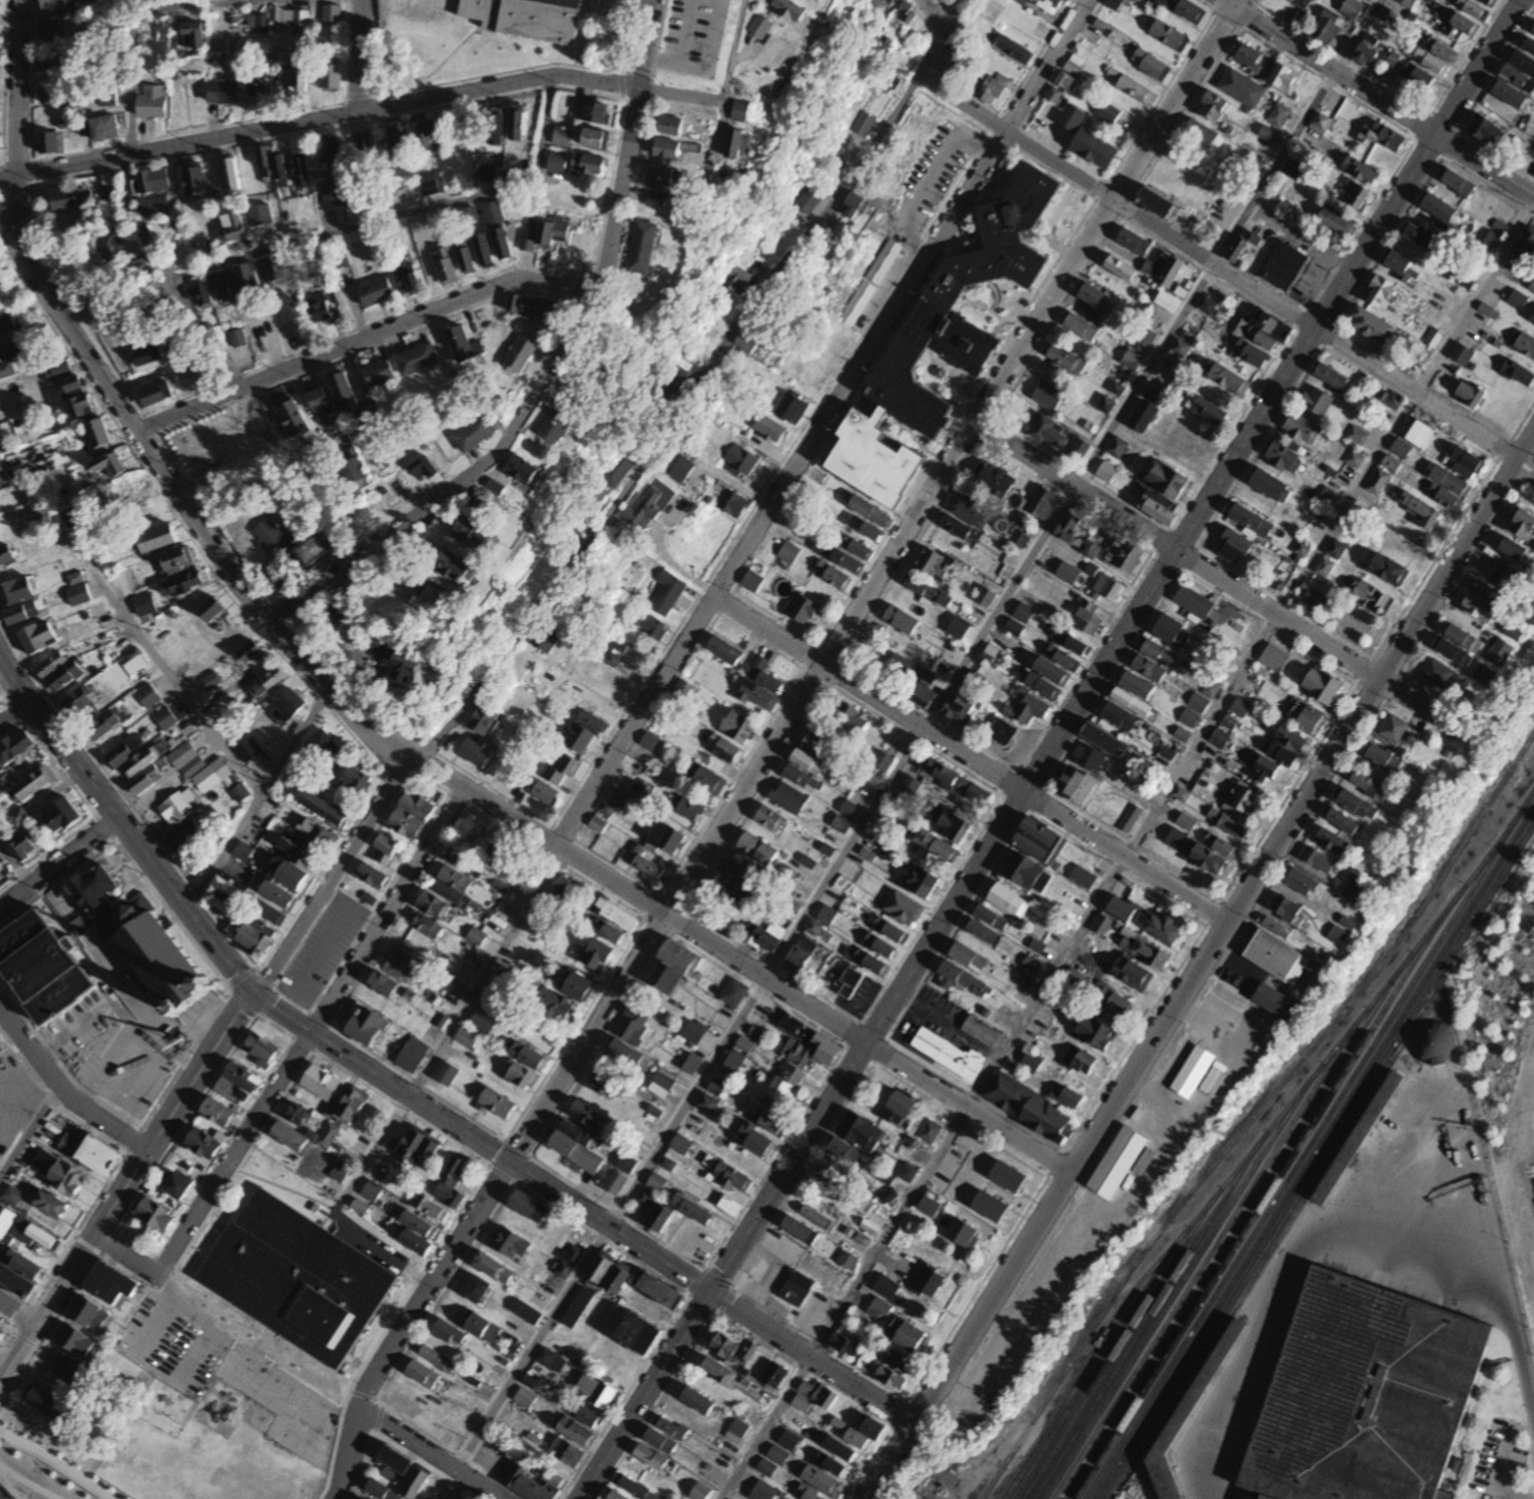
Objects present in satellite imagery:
building: (1488, 2)
building: (1407, 3)
building: (54, 4)
building: (1301, 4)
road: (931, 15)
building: (529, 18)
road: (937, 37)
road: (732, 52)
road: (358, 56)
road: (1478, 68)
road: (1328, 69)
road: (10, 89)
road: (361, 111)
road: (126, 151)
road: (537, 155)
road: (1485, 168)
road: (325, 238)
road: (1228, 272)
road: (365, 338)
road: (551, 367)
road: (819, 420)
road: (673, 422)
road: (1203, 568)
road: (15, 713)
road: (920, 735)
road: (771, 743)
road: (971, 758)
road: (436, 771)
road: (256, 802)
road: (1005, 817)
road: (122, 826)
road: (1129, 851)
road: (57, 862)
road: (14, 864)
road: (329, 873)
building: (92, 897)
building: (156, 952)
building: (43, 966)
road: (1199, 966)
traffic signals: (250, 992)
road: (142, 1009)
road: (3, 1021)
road: (454, 1022)
road: (134, 1027)
road: (74, 1029)
road: (310, 1031)
road: (303, 1044)
road: (34, 1053)
road: (106, 1064)
road: (139, 1085)
road: (53, 1101)
road: (196, 1104)
road: (401, 1107)
railway: (1255, 1114)
road: (108, 1122)
road: (28, 1128)
road: (132, 1138)
building: (1358, 1138)
railway: (1309, 1144)
road: (223, 1146)
road: (495, 1151)
railway: (1253, 1151)
building: (86, 1152)
railway: (1314, 1153)
railway: (1320, 1161)
road: (500, 1172)
parking lot: (1530, 1179)
road: (125, 1184)
road: (287, 1188)
road: (216, 1200)
road: (581, 1206)
road: (339, 1208)
road: (453, 1218)
railway: (1249, 1218)
road: (75, 1227)
road: (600, 1236)
road: (84, 1244)
road: (106, 1244)
road: (135, 1244)
road: (370, 1244)
parking lot: (368, 1245)
railway: (1222, 1247)
road: (123, 1254)
road: (1498, 1258)
road: (163, 1261)
road: (172, 1267)
railway: (1198, 1269)
road: (1287, 1270)
building: (293, 1275)
road: (415, 1275)
building: (113, 1276)
road: (696, 1281)
road: (162, 1286)
building: (101, 1288)
road: (12, 1292)
road: (441, 1293)
railway: (1172, 1293)
road: (387, 1306)
building: (93, 1307)
road: (17, 1311)
road: (17, 1312)
road: (190, 1314)
railway: (1148, 1316)
building: (85, 1319)
road: (389, 1321)
road: (4, 1326)
park: (5, 1331)
road: (6, 1331)
road: (11, 1331)
road: (49, 1331)
railway: (1123, 1338)
road: (25, 1339)
building: (77, 1343)
parking lot: (174, 1343)
road: (37, 1347)
road: (245, 1355)
road: (3, 1363)
railway: (1096, 1363)
building: (74, 1373)
road: (350, 1390)
road: (362, 1393)
road: (624, 1395)
building: (1366, 1396)
road: (374, 1398)
road: (4, 1401)
building: (47, 1402)
building: (125, 1407)
road: (378, 1416)
building: (1189, 1416)
road: (338, 1420)
street lamp: (0, 1421)
street lamp: (34, 1439)
road: (431, 1451)
road: (453, 1451)
park: (46, 1458)
street lamp: (68, 1460)
road: (361, 1460)
road: (1503, 1460)
road: (57, 1461)
road: (60, 1462)
road: (428, 1465)
road: (29, 1482)
street lamp: (103, 1483)
road: (24, 1484)
road: (9, 1486)
road: (960, 1486)
road: (463, 1488)
road: (1510, 1492)

